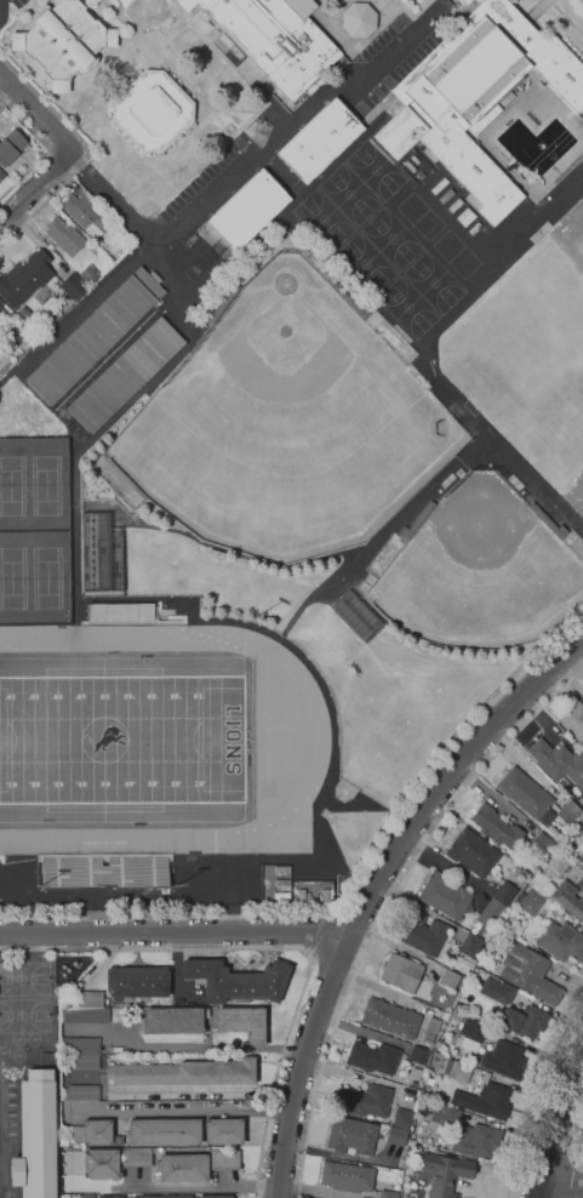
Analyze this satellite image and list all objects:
building: (458, 1)
building: (463, 1)
building: (125, 2)
building: (299, 7)
road: (539, 10)
road: (567, 15)
building: (358, 21)
building: (269, 39)
building: (62, 41)
road: (156, 47)
road: (159, 56)
building: (475, 97)
building: (152, 110)
road: (241, 110)
road: (36, 114)
building: (319, 141)
building: (10, 147)
road: (47, 149)
road: (84, 149)
building: (415, 159)
road: (253, 160)
building: (410, 166)
park: (375, 170)
road: (278, 171)
building: (1, 176)
building: (439, 186)
road: (36, 188)
park: (349, 194)
building: (445, 195)
building: (455, 204)
building: (247, 210)
building: (85, 215)
park: (421, 217)
building: (465, 217)
park: (324, 218)
building: (64, 235)
park: (391, 239)
park: (457, 255)
park: (366, 263)
building: (88, 275)
building: (24, 279)
building: (149, 283)
park: (434, 283)
building: (73, 286)
building: (0, 303)
park: (408, 308)
building: (0, 310)
building: (25, 313)
park: (556, 319)
building: (90, 341)
building: (125, 376)
park: (527, 376)
park: (548, 421)
park: (286, 426)
park: (34, 484)
building: (92, 520)
building: (102, 572)
park: (34, 576)
park: (481, 576)
building: (120, 612)
building: (573, 720)
track: (265, 723)
track: (316, 735)
park: (121, 740)
park: (121, 740)
building: (558, 763)
building: (525, 795)
building: (568, 812)
building: (496, 826)
building: (581, 832)
building: (542, 843)
building: (471, 852)
building: (579, 860)
building: (556, 865)
building: (281, 868)
building: (103, 872)
building: (282, 882)
road: (373, 888)
road: (351, 891)
building: (504, 894)
building: (281, 895)
building: (444, 895)
building: (302, 896)
building: (325, 896)
building: (568, 900)
building: (531, 902)
road: (388, 905)
building: (488, 917)
road: (175, 930)
building: (527, 931)
road: (311, 932)
building: (421, 932)
building: (561, 941)
building: (469, 945)
road: (280, 949)
building: (400, 971)
building: (528, 972)
park: (24, 979)
building: (448, 979)
building: (236, 980)
building: (136, 982)
building: (497, 991)
building: (84, 998)
building: (84, 1014)
park: (24, 1016)
building: (389, 1017)
building: (175, 1020)
building: (524, 1021)
building: (242, 1022)
building: (430, 1029)
building: (471, 1033)
building: (80, 1044)
road: (184, 1046)
building: (417, 1054)
building: (373, 1057)
building: (82, 1060)
building: (504, 1060)
building: (457, 1069)
building: (184, 1073)
building: (415, 1073)
building: (80, 1093)
road: (536, 1096)
building: (367, 1101)
building: (490, 1101)
building: (445, 1116)
building: (402, 1118)
road: (555, 1129)
building: (223, 1130)
building: (164, 1131)
building: (86, 1133)
building: (396, 1134)
building: (350, 1135)
building: (34, 1136)
building: (478, 1141)
road: (577, 1148)
road: (548, 1154)
building: (138, 1156)
building: (223, 1158)
building: (101, 1163)
building: (183, 1166)
building: (442, 1173)
building: (348, 1176)
road: (572, 1177)
road: (201, 1187)
road: (561, 1188)
building: (388, 1194)
building: (78, 1196)
building: (109, 1197)
building: (126, 1197)
building: (161, 1197)
building: (194, 1197)
building: (215, 1197)

